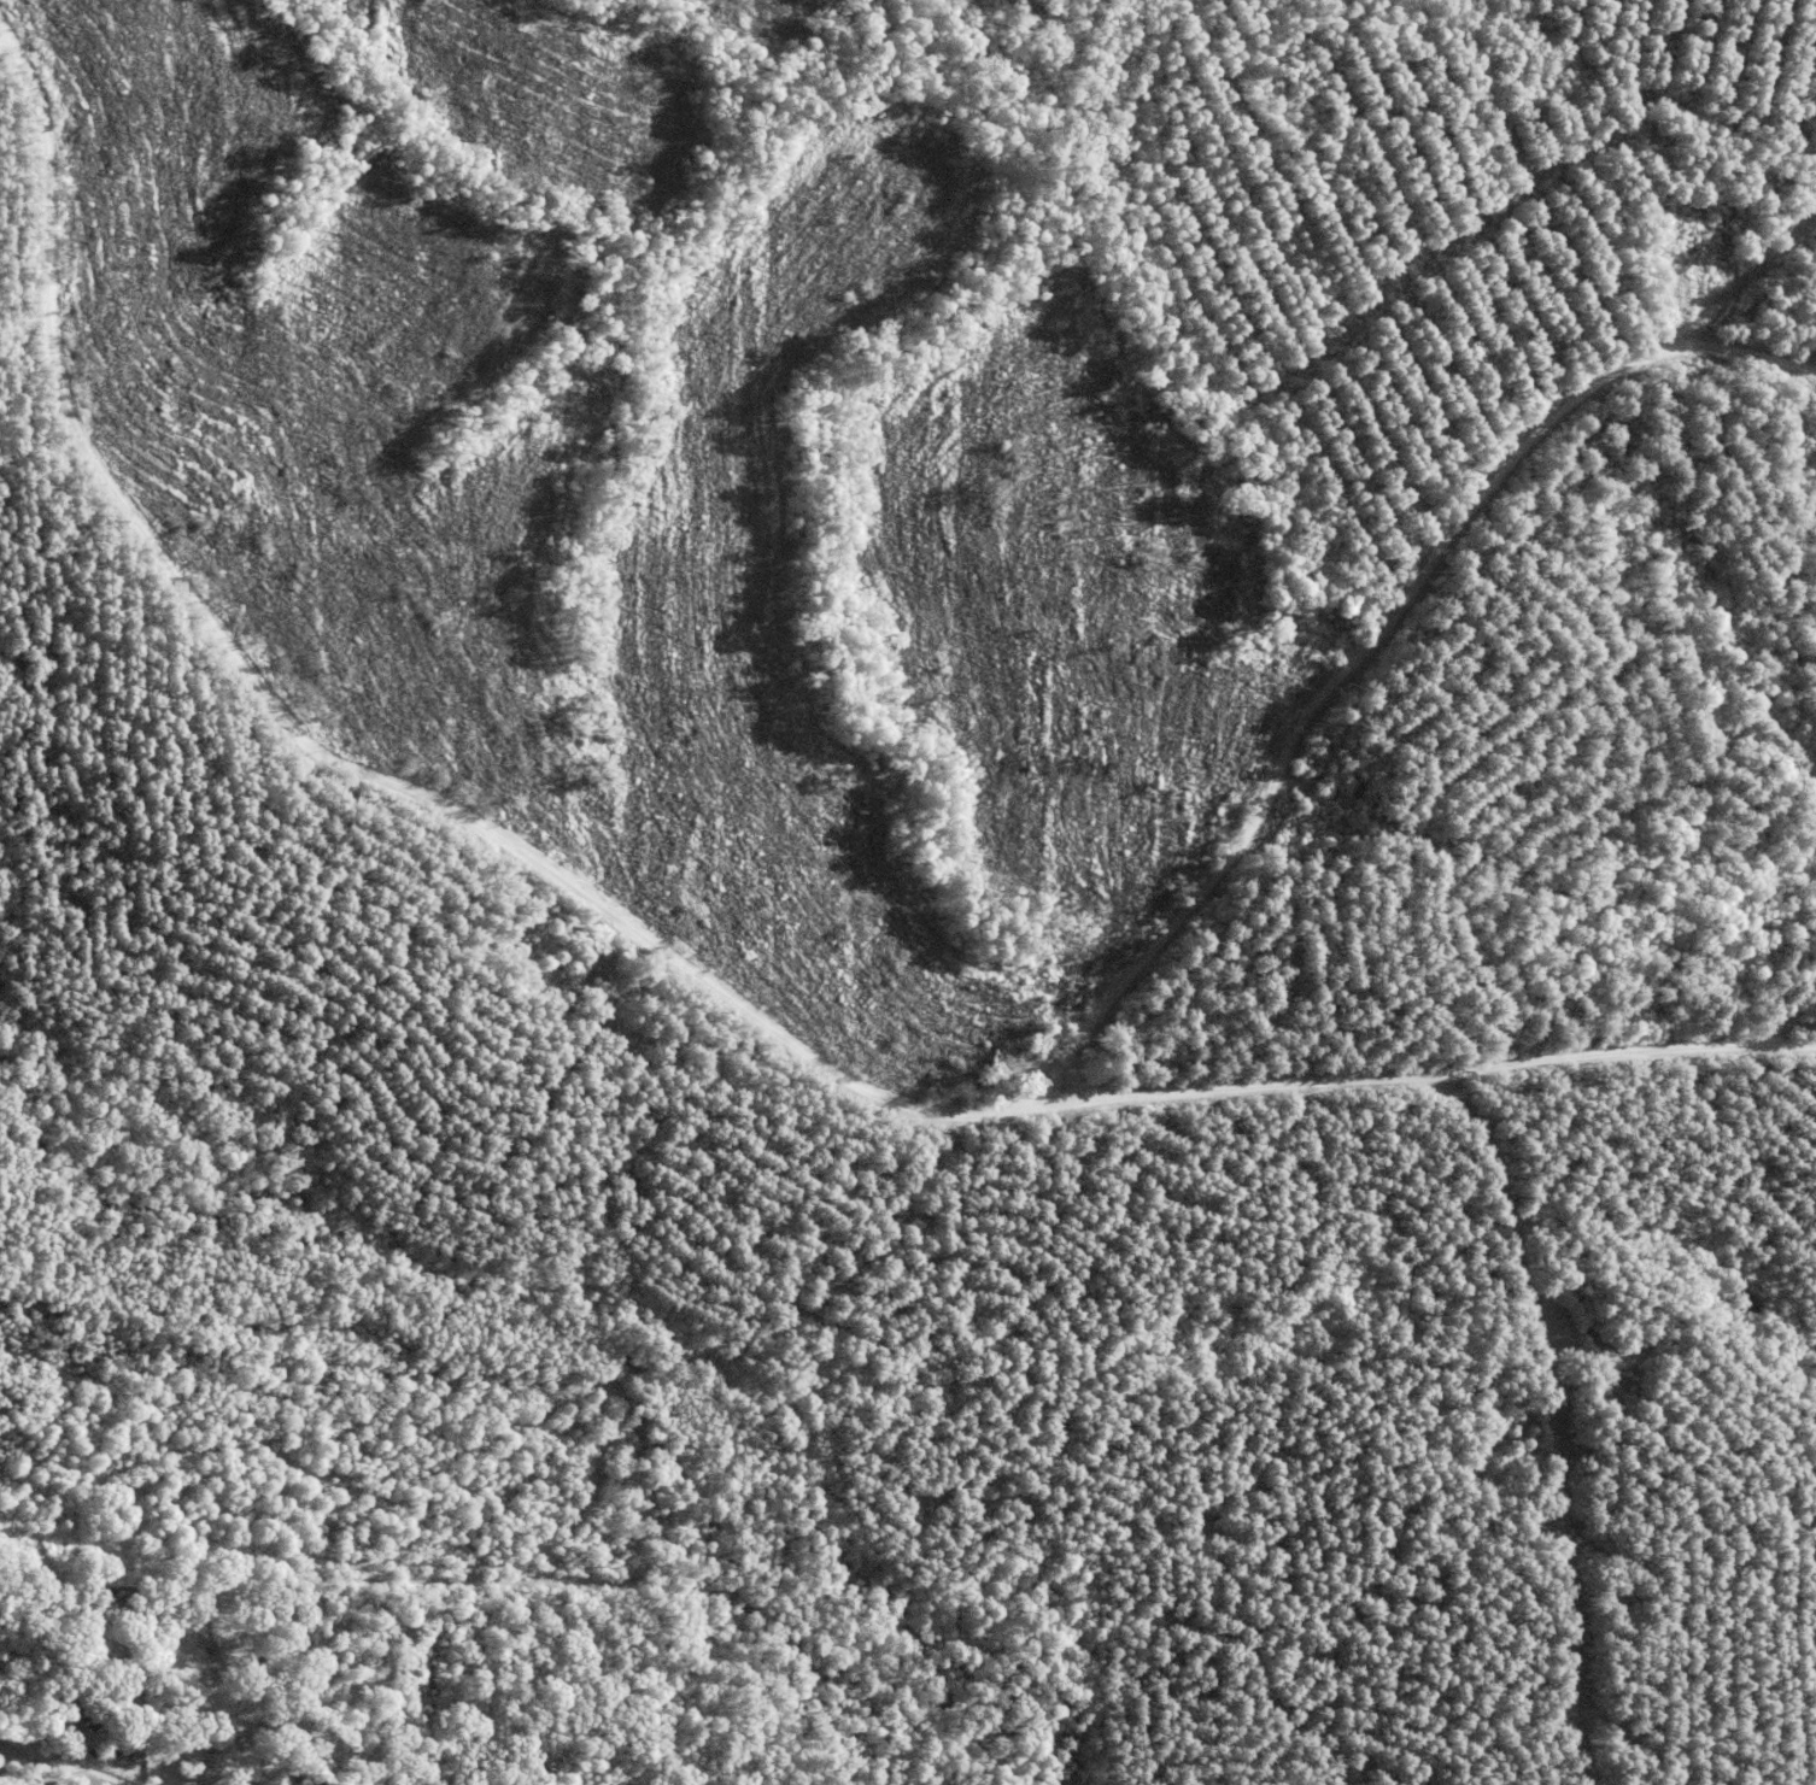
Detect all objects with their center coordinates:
road: (1372, 648)
road: (320, 732)
road: (1423, 1076)
building: (195, 1627)
building: (8, 1638)
building: (245, 1649)
road: (152, 1710)
building: (78, 1713)
road: (48, 1767)
building: (213, 1778)

